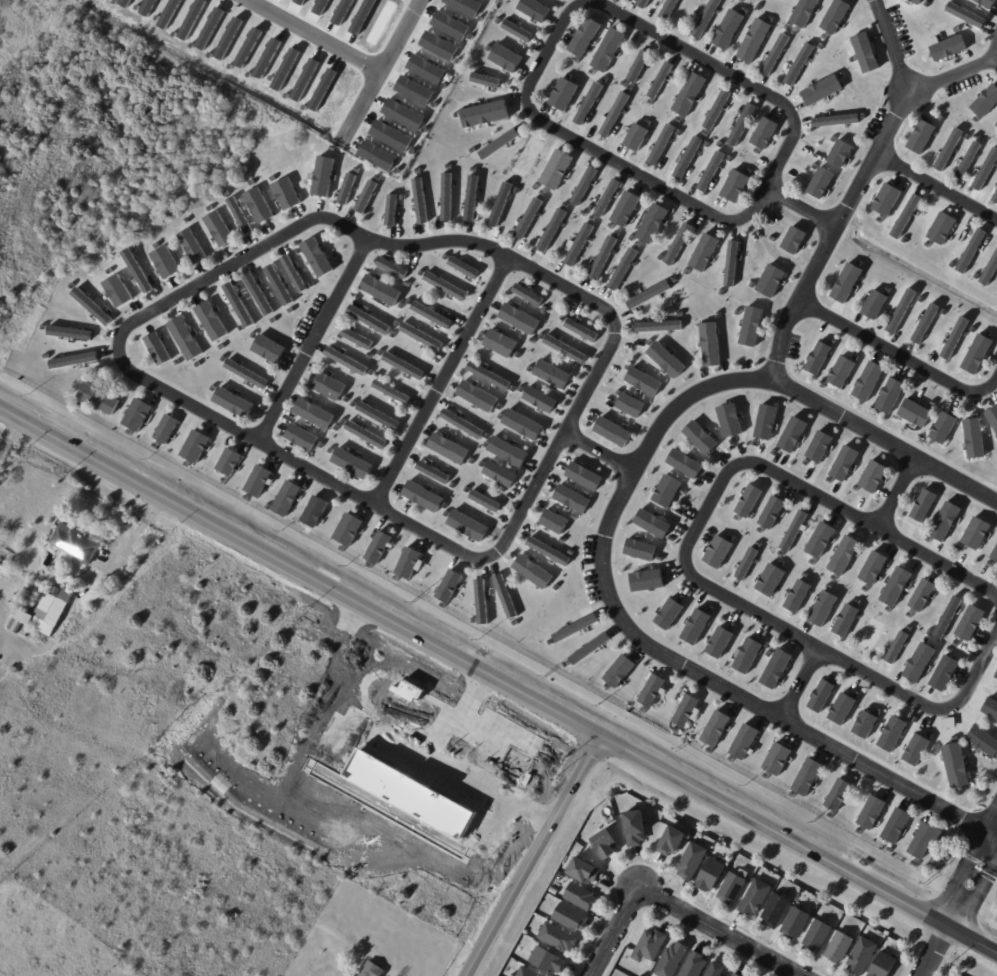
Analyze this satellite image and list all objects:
building: (915, 1)
building: (985, 3)
building: (668, 9)
building: (534, 10)
building: (803, 13)
building: (964, 15)
building: (834, 16)
building: (705, 19)
building: (728, 29)
building: (516, 31)
road: (321, 33)
building: (583, 37)
road: (558, 38)
building: (752, 41)
building: (901, 41)
building: (947, 48)
building: (607, 50)
building: (864, 53)
building: (774, 54)
building: (505, 58)
building: (798, 64)
building: (637, 66)
road: (385, 71)
road: (954, 79)
building: (484, 80)
building: (659, 80)
building: (821, 90)
building: (563, 94)
building: (688, 94)
building: (985, 101)
building: (587, 103)
building: (716, 109)
building: (483, 114)
building: (613, 114)
building: (835, 120)
building: (741, 124)
building: (763, 133)
building: (920, 136)
building: (635, 137)
building: (497, 144)
building: (660, 144)
building: (948, 149)
building: (839, 153)
building: (526, 157)
building: (967, 160)
building: (555, 169)
building: (985, 169)
building: (710, 171)
building: (322, 176)
building: (820, 183)
building: (583, 186)
building: (734, 186)
road: (937, 187)
building: (346, 189)
road: (858, 191)
building: (286, 194)
building: (365, 196)
building: (446, 196)
building: (607, 196)
building: (994, 197)
building: (470, 198)
building: (886, 199)
building: (419, 201)
building: (258, 205)
building: (499, 205)
building: (624, 209)
building: (390, 210)
road: (805, 211)
building: (239, 215)
building: (527, 218)
building: (651, 223)
building: (941, 227)
building: (218, 229)
building: (551, 230)
building: (793, 240)
building: (677, 244)
building: (576, 245)
building: (191, 246)
building: (703, 252)
building: (316, 257)
building: (602, 257)
building: (165, 262)
building: (730, 263)
building: (462, 267)
building: (391, 268)
building: (622, 269)
building: (989, 269)
building: (136, 271)
building: (293, 274)
building: (770, 281)
building: (845, 283)
building: (278, 285)
building: (444, 286)
building: (380, 290)
building: (117, 291)
building: (527, 294)
building: (258, 295)
building: (647, 295)
building: (874, 304)
building: (237, 305)
building: (91, 306)
building: (900, 311)
building: (430, 315)
building: (518, 319)
building: (211, 321)
building: (924, 323)
building: (658, 326)
building: (750, 326)
building: (581, 330)
building: (70, 333)
building: (420, 336)
building: (184, 338)
building: (356, 338)
building: (954, 338)
road: (312, 340)
building: (499, 343)
building: (709, 344)
building: (268, 348)
building: (156, 349)
building: (564, 349)
building: (976, 354)
road: (899, 357)
building: (817, 358)
building: (75, 360)
building: (665, 360)
building: (345, 361)
building: (402, 365)
building: (840, 372)
building: (245, 374)
building: (551, 374)
building: (487, 376)
building: (642, 381)
building: (867, 381)
road: (443, 382)
building: (328, 386)
building: (889, 395)
building: (476, 396)
building: (97, 398)
building: (539, 399)
building: (232, 402)
building: (629, 405)
building: (313, 413)
building: (914, 413)
building: (136, 415)
building: (377, 415)
building: (993, 418)
building: (729, 420)
building: (765, 422)
building: (461, 424)
building: (521, 424)
building: (942, 428)
building: (165, 429)
building: (611, 431)
building: (792, 434)
building: (365, 435)
building: (301, 437)
building: (699, 437)
building: (973, 438)
building: (194, 446)
building: (818, 447)
building: (447, 448)
road: (272, 450)
building: (507, 451)
road: (601, 452)
building: (228, 462)
building: (352, 463)
building: (843, 463)
building: (684, 464)
building: (432, 472)
building: (499, 474)
building: (582, 476)
building: (872, 476)
building: (257, 480)
building: (666, 491)
building: (422, 496)
road: (901, 496)
building: (285, 498)
building: (570, 498)
building: (484, 501)
building: (748, 501)
building: (922, 505)
building: (313, 512)
building: (771, 512)
building: (553, 521)
building: (944, 521)
building: (651, 523)
building: (469, 528)
building: (347, 529)
building: (793, 530)
building: (975, 533)
road: (138, 537)
road: (607, 539)
building: (819, 540)
building: (76, 545)
building: (377, 547)
building: (639, 549)
building: (547, 551)
building: (718, 553)
building: (994, 554)
building: (843, 555)
road: (688, 560)
building: (408, 562)
building: (746, 563)
building: (875, 568)
building: (532, 572)
building: (646, 581)
building: (774, 581)
building: (70, 585)
building: (448, 586)
building: (895, 586)
building: (96, 594)
building: (921, 595)
building: (504, 596)
building: (796, 596)
building: (54, 602)
building: (480, 602)
building: (822, 608)
building: (32, 610)
building: (57, 613)
building: (668, 614)
building: (947, 616)
building: (844, 620)
building: (969, 623)
building: (36, 624)
building: (695, 626)
building: (574, 628)
building: (871, 634)
building: (22, 638)
building: (718, 642)
building: (895, 648)
building: (588, 649)
building: (746, 656)
building: (918, 662)
building: (775, 669)
building: (618, 671)
building: (943, 674)
building: (996, 679)
road: (496, 683)
building: (651, 690)
road: (801, 691)
building: (821, 696)
building: (841, 708)
building: (686, 711)
building: (994, 720)
building: (864, 724)
building: (714, 728)
building: (891, 734)
building: (743, 741)
building: (985, 743)
building: (915, 749)
building: (778, 760)
road: (452, 768)
building: (957, 768)
building: (806, 777)
building: (837, 794)
building: (872, 814)
building: (895, 825)
building: (637, 828)
building: (675, 841)
building: (927, 841)
road: (989, 843)
building: (607, 845)
road: (533, 858)
building: (693, 861)
road: (965, 866)
building: (585, 872)
building: (712, 875)
building: (733, 889)
building: (582, 897)
building: (756, 898)
road: (976, 899)
building: (777, 911)
building: (572, 918)
building: (797, 924)
road: (615, 934)
road: (716, 934)
building: (819, 935)
building: (559, 938)
building: (653, 946)
building: (841, 948)
road: (933, 952)
building: (863, 957)
building: (673, 960)
building: (548, 961)
building: (696, 965)
building: (884, 965)
building: (373, 970)
building: (717, 970)
building: (528, 972)
building: (737, 975)

